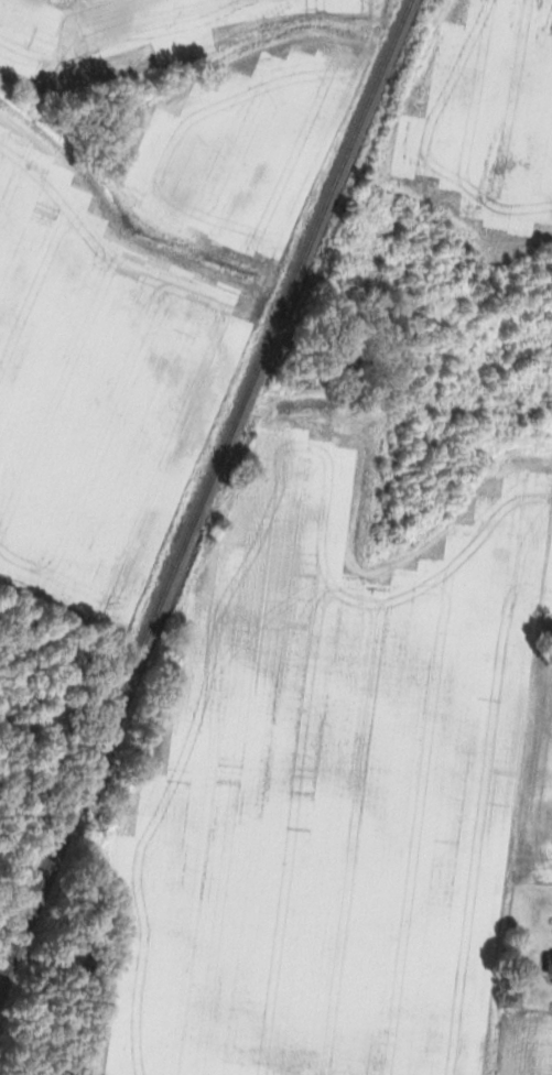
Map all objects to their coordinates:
road: (549, 3)
railway: (199, 489)
building: (548, 965)

